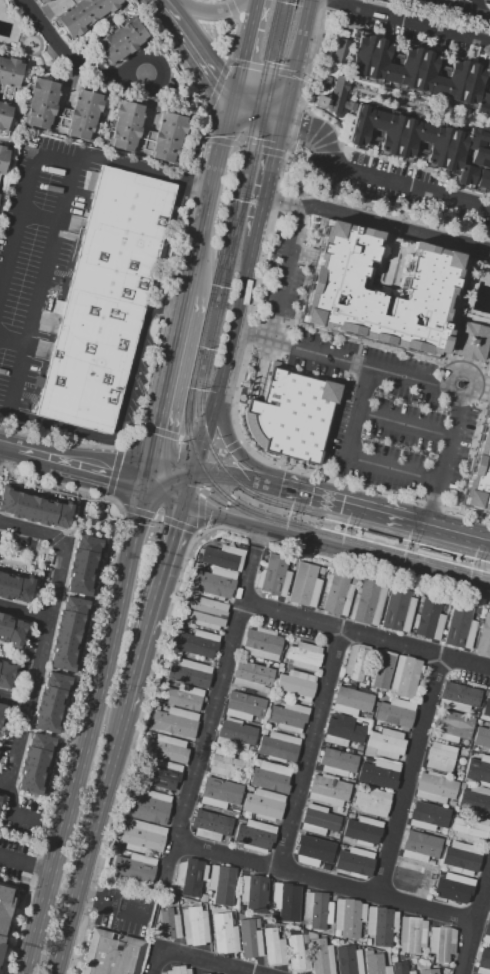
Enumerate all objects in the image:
building: (41, 1)
building: (489, 2)
road: (476, 5)
road: (463, 7)
road: (232, 8)
road: (208, 12)
building: (84, 14)
road: (406, 21)
railway: (276, 31)
railway: (286, 32)
road: (234, 38)
building: (120, 42)
road: (193, 49)
road: (246, 49)
building: (339, 51)
road: (298, 57)
road: (76, 63)
road: (266, 69)
building: (421, 74)
building: (9, 75)
road: (218, 85)
road: (301, 88)
traffic signals: (231, 98)
building: (40, 104)
road: (257, 107)
building: (4, 115)
building: (84, 115)
traffic signals: (285, 115)
building: (125, 126)
road: (295, 129)
building: (167, 138)
road: (248, 146)
building: (450, 150)
building: (3, 159)
road: (140, 168)
road: (377, 175)
road: (269, 176)
road: (208, 193)
road: (22, 202)
road: (38, 219)
road: (377, 224)
railway: (233, 244)
railway: (233, 244)
parking lot: (35, 253)
road: (303, 255)
park: (389, 267)
road: (284, 271)
railway: (226, 279)
railway: (214, 285)
road: (38, 291)
building: (339, 291)
building: (105, 299)
road: (161, 330)
road: (12, 341)
building: (471, 341)
road: (226, 355)
road: (260, 370)
road: (474, 374)
road: (409, 375)
fountain: (459, 383)
road: (165, 384)
road: (234, 400)
building: (290, 414)
road: (406, 424)
traffic signals: (156, 426)
road: (159, 432)
road: (225, 434)
road: (178, 439)
road: (198, 444)
road: (7, 445)
road: (231, 447)
road: (220, 452)
road: (222, 455)
road: (348, 457)
road: (63, 461)
road: (1, 464)
building: (480, 470)
road: (213, 472)
traffic signals: (109, 473)
road: (114, 473)
road: (170, 476)
road: (130, 477)
road: (226, 477)
traffic signals: (280, 486)
road: (189, 488)
road: (204, 491)
road: (165, 492)
road: (68, 495)
road: (214, 499)
road: (230, 499)
road: (336, 500)
building: (33, 509)
road: (135, 511)
road: (276, 511)
road: (200, 514)
road: (104, 516)
road: (156, 517)
road: (82, 524)
railway: (320, 525)
railway: (363, 525)
road: (181, 526)
traffic signals: (177, 529)
road: (451, 529)
road: (32, 531)
building: (377, 537)
road: (54, 538)
building: (152, 538)
road: (259, 538)
building: (217, 541)
railway: (358, 542)
road: (336, 548)
building: (432, 555)
building: (221, 557)
building: (291, 562)
building: (82, 565)
road: (375, 567)
building: (289, 569)
building: (321, 570)
road: (249, 574)
building: (273, 576)
building: (353, 580)
building: (213, 583)
building: (304, 585)
building: (15, 588)
building: (336, 594)
building: (367, 603)
road: (152, 606)
building: (398, 610)
building: (206, 613)
road: (24, 615)
building: (429, 619)
road: (48, 623)
road: (99, 626)
building: (180, 627)
building: (460, 627)
building: (11, 630)
building: (67, 633)
road: (365, 636)
building: (484, 638)
building: (261, 643)
building: (198, 644)
building: (304, 656)
building: (282, 657)
building: (356, 661)
building: (279, 670)
building: (380, 671)
building: (189, 673)
building: (276, 674)
building: (5, 675)
building: (252, 676)
building: (343, 677)
building: (405, 677)
building: (164, 682)
building: (364, 683)
building: (296, 685)
building: (182, 697)
building: (458, 697)
building: (270, 700)
road: (14, 701)
building: (352, 701)
building: (50, 702)
building: (244, 706)
building: (487, 707)
building: (1, 710)
building: (396, 712)
building: (475, 713)
building: (366, 716)
building: (289, 717)
road: (137, 721)
building: (174, 722)
building: (479, 722)
building: (377, 724)
building: (451, 726)
road: (87, 728)
building: (342, 731)
building: (264, 732)
building: (235, 735)
building: (482, 737)
road: (203, 739)
building: (386, 743)
building: (278, 747)
building: (166, 748)
road: (308, 748)
building: (358, 749)
road: (17, 752)
building: (440, 757)
building: (34, 763)
building: (224, 763)
building: (255, 763)
building: (338, 763)
building: (477, 769)
building: (378, 773)
building: (164, 775)
road: (408, 775)
building: (270, 777)
building: (237, 778)
building: (356, 786)
building: (248, 788)
building: (435, 788)
building: (327, 790)
building: (353, 791)
building: (219, 793)
building: (0, 794)
building: (0, 797)
building: (475, 799)
building: (373, 802)
building: (451, 803)
building: (263, 805)
building: (149, 808)
building: (234, 811)
building: (351, 816)
building: (428, 816)
building: (241, 820)
building: (319, 820)
building: (210, 825)
building: (470, 828)
building: (443, 831)
building: (363, 832)
building: (255, 836)
building: (336, 836)
building: (142, 837)
road: (88, 841)
building: (332, 843)
building: (445, 843)
building: (341, 846)
building: (420, 847)
building: (309, 852)
building: (461, 859)
road: (24, 863)
building: (355, 863)
building: (133, 869)
building: (191, 876)
building: (410, 877)
road: (326, 880)
building: (222, 884)
building: (454, 889)
building: (253, 893)
building: (208, 896)
building: (287, 900)
building: (241, 906)
building: (5, 908)
building: (317, 910)
building: (348, 918)
building: (257, 923)
road: (476, 923)
building: (168, 925)
building: (380, 925)
building: (194, 926)
building: (487, 932)
building: (224, 934)
building: (411, 934)
building: (249, 939)
building: (305, 939)
building: (367, 942)
building: (442, 943)
building: (361, 947)
building: (273, 948)
building: (368, 952)
building: (111, 954)
building: (296, 955)
building: (320, 955)
building: (415, 957)
building: (393, 958)
building: (429, 958)
building: (348, 960)
road: (154, 961)
road: (207, 961)
building: (410, 962)
building: (416, 962)
building: (483, 962)
building: (375, 964)
building: (439, 965)
building: (422, 967)
building: (401, 968)
building: (178, 970)
building: (428, 971)
building: (207, 973)
building: (216, 973)

